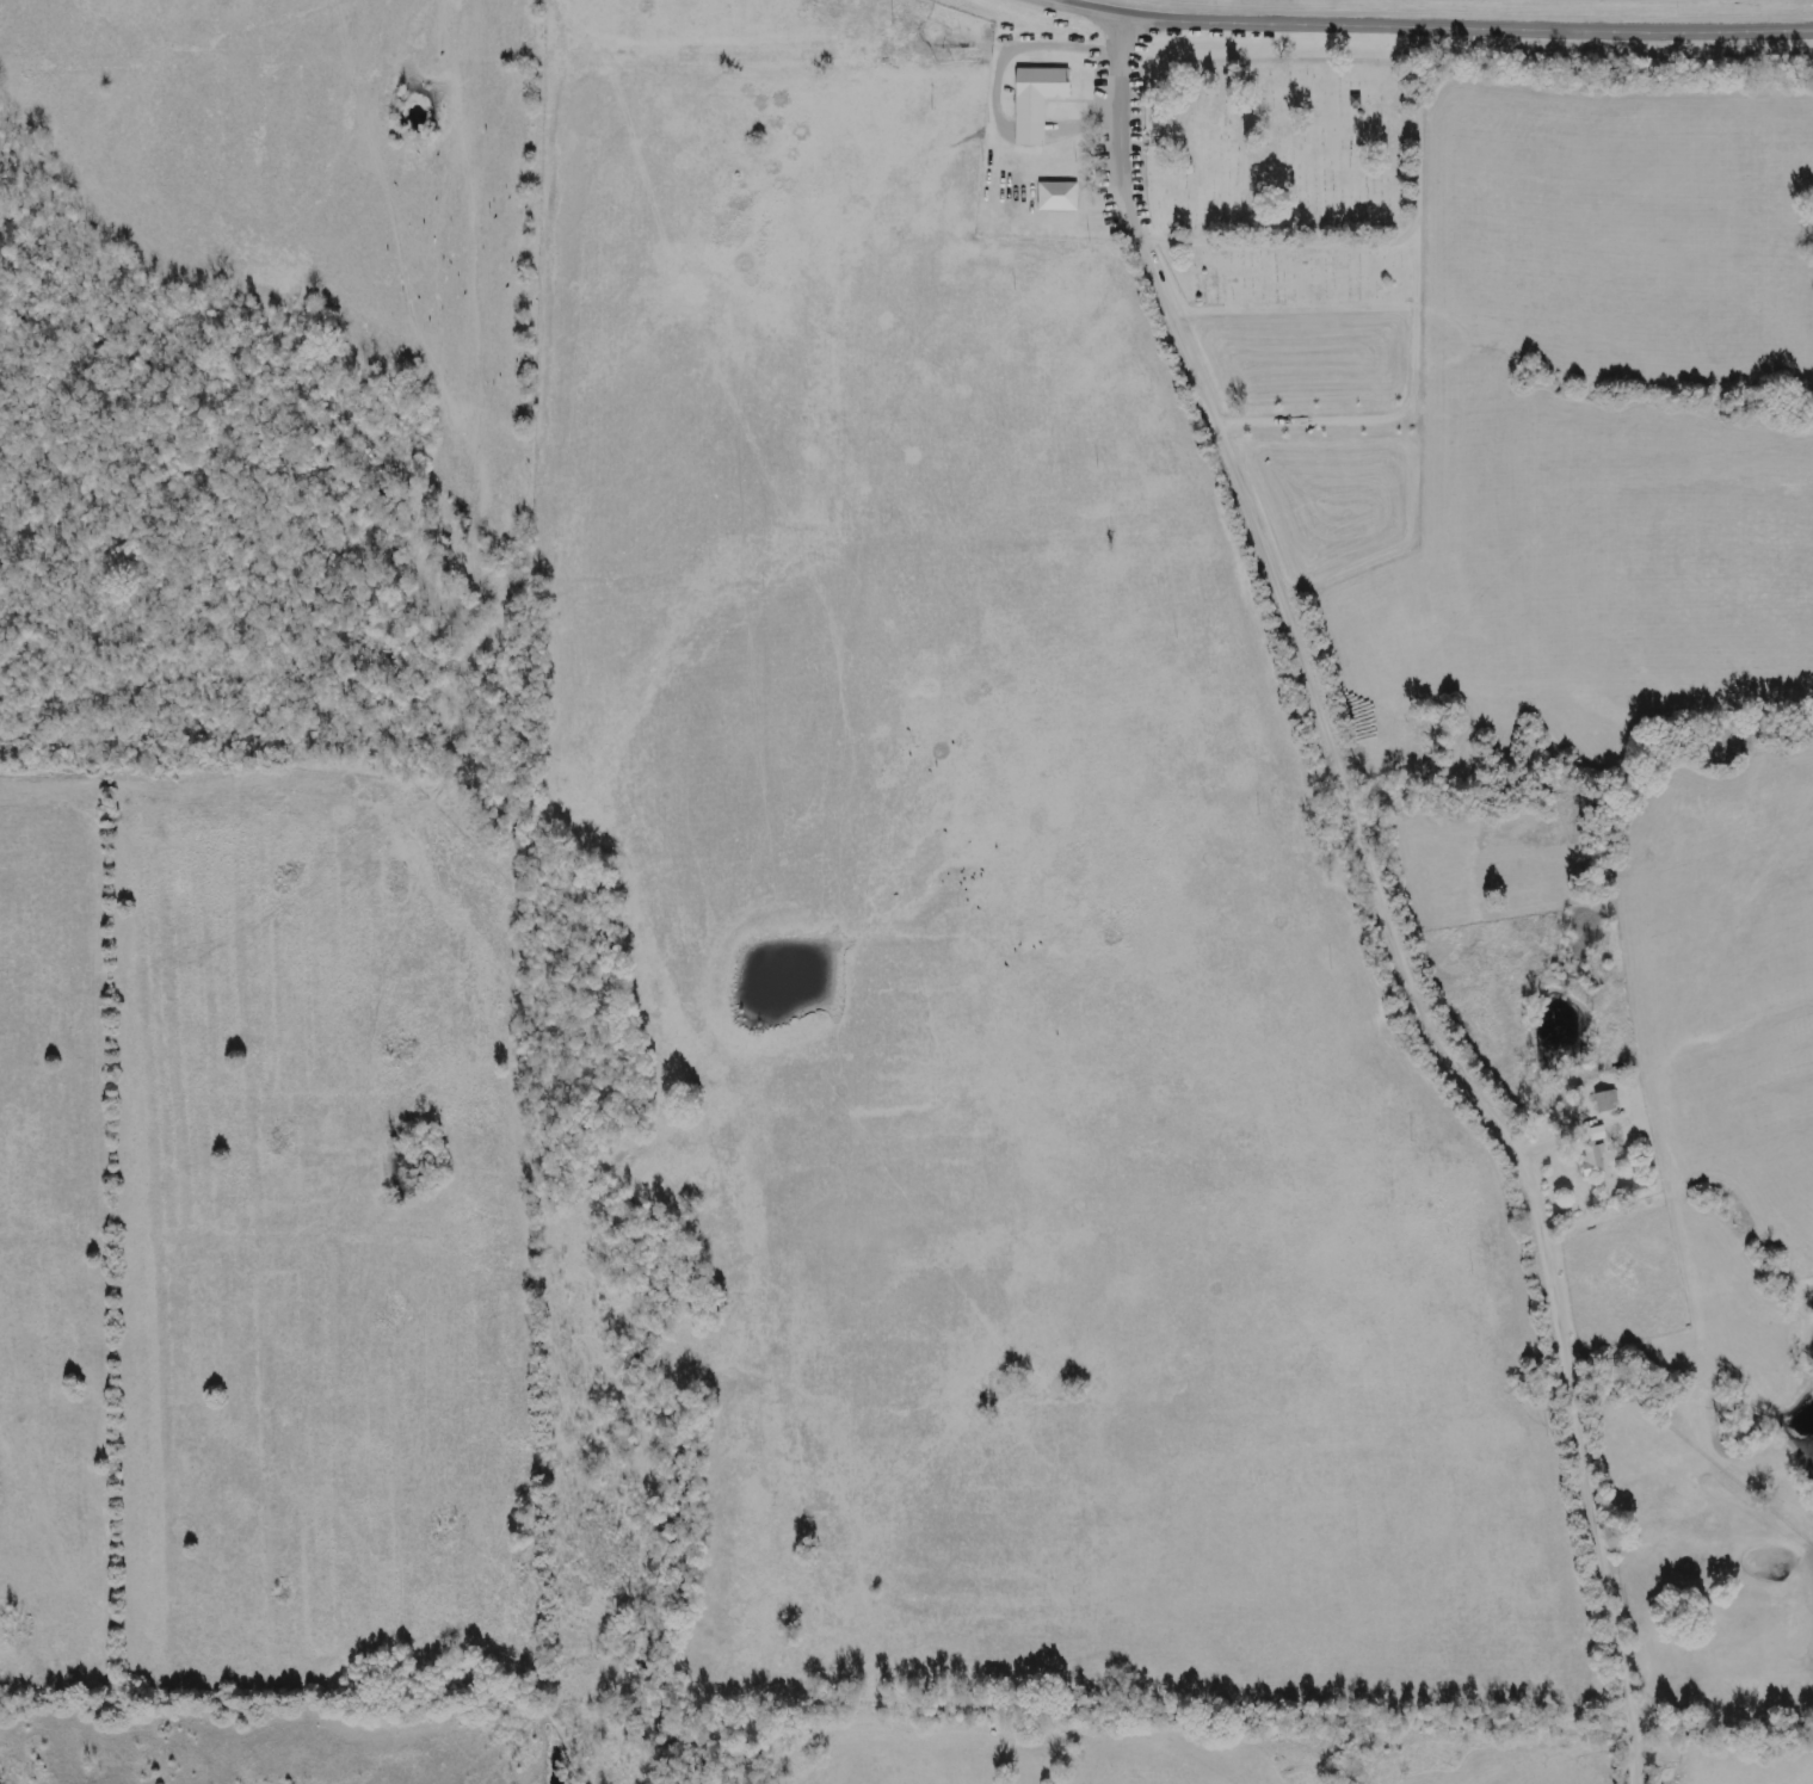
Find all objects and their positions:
road: (1436, 26)
building: (1036, 100)
park: (1288, 180)
building: (1057, 196)
road: (531, 622)
road: (1396, 894)
building: (1607, 1099)
building: (1597, 1132)
building: (1593, 1159)

